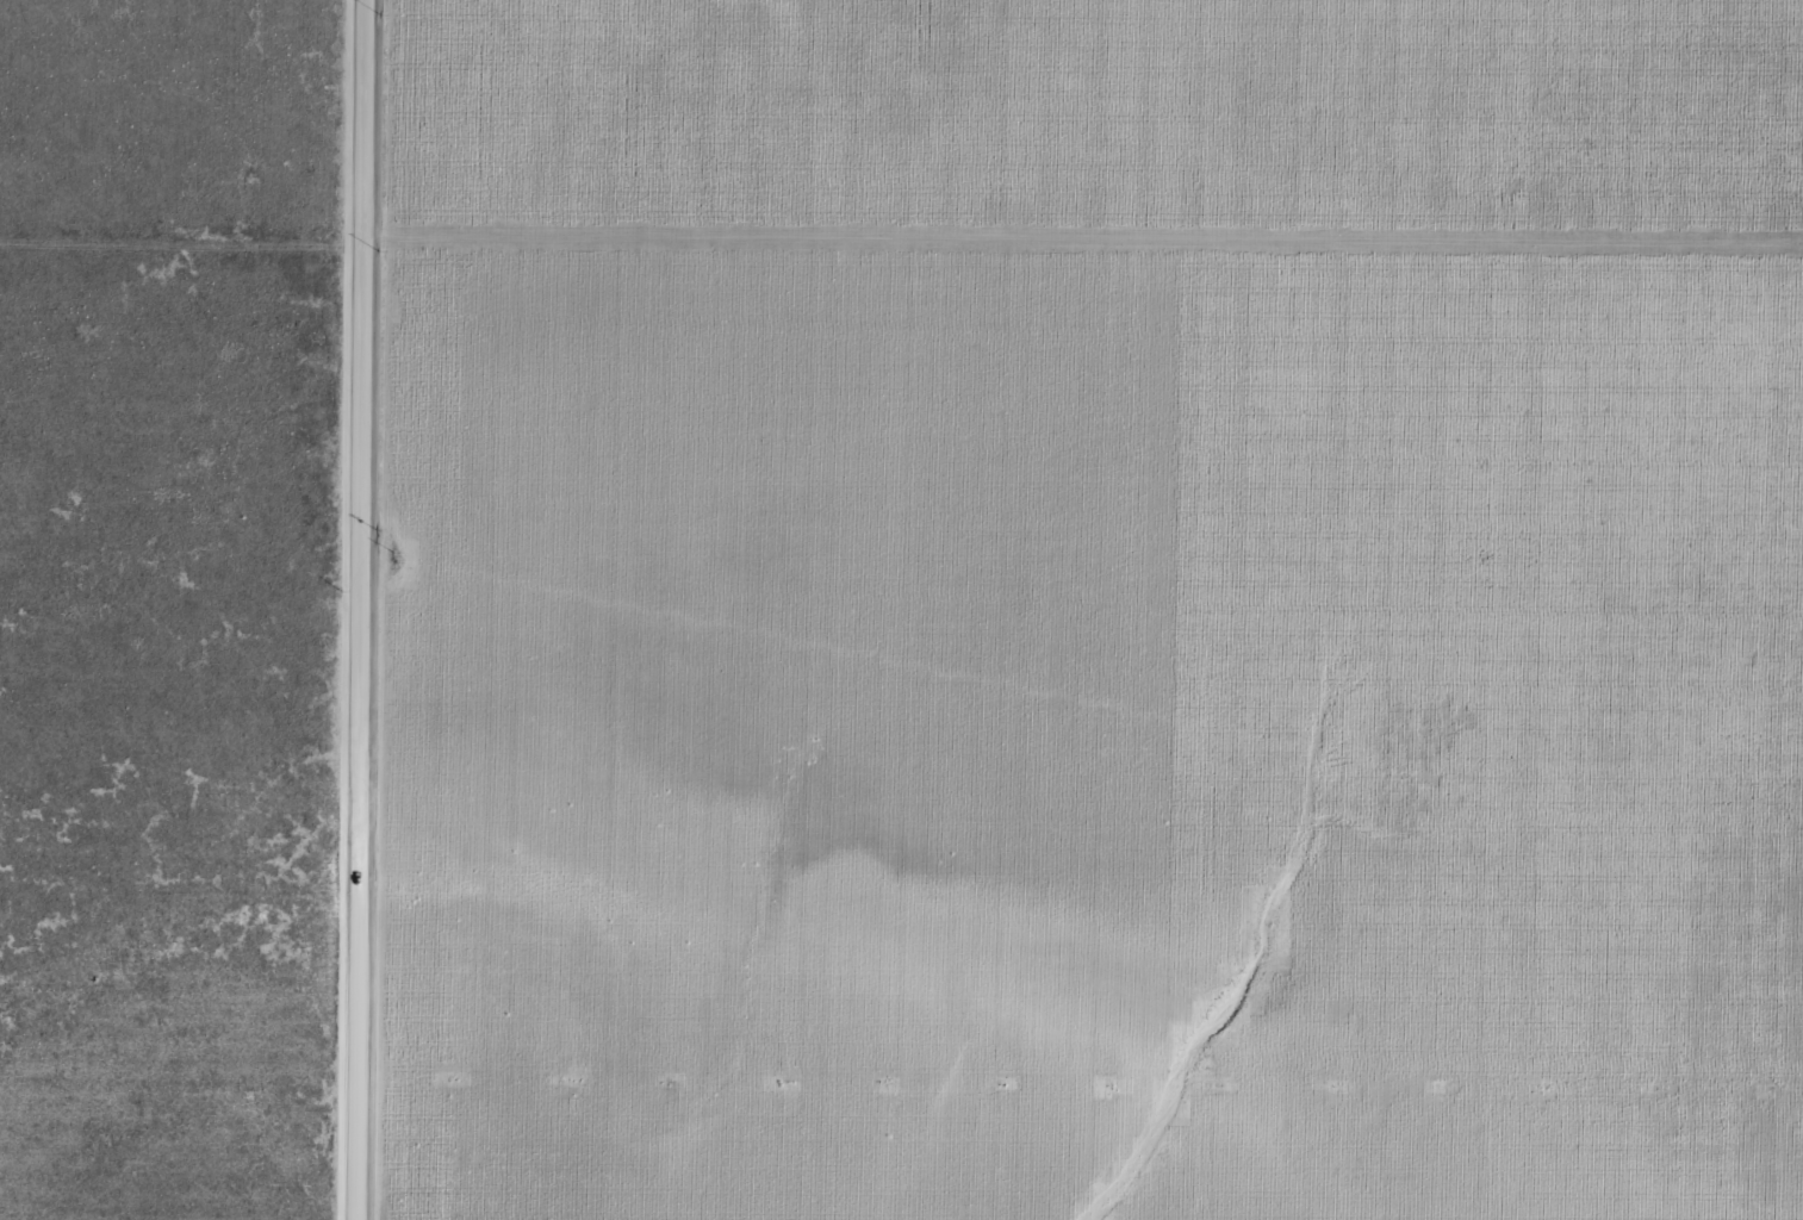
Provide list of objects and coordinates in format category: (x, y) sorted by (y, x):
road: (1083, 223)
road: (359, 610)

